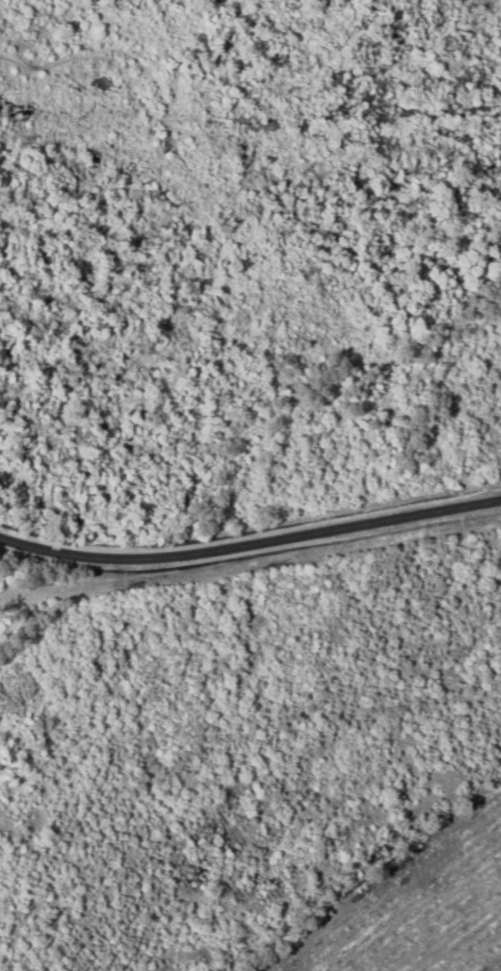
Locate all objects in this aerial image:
road: (250, 543)

